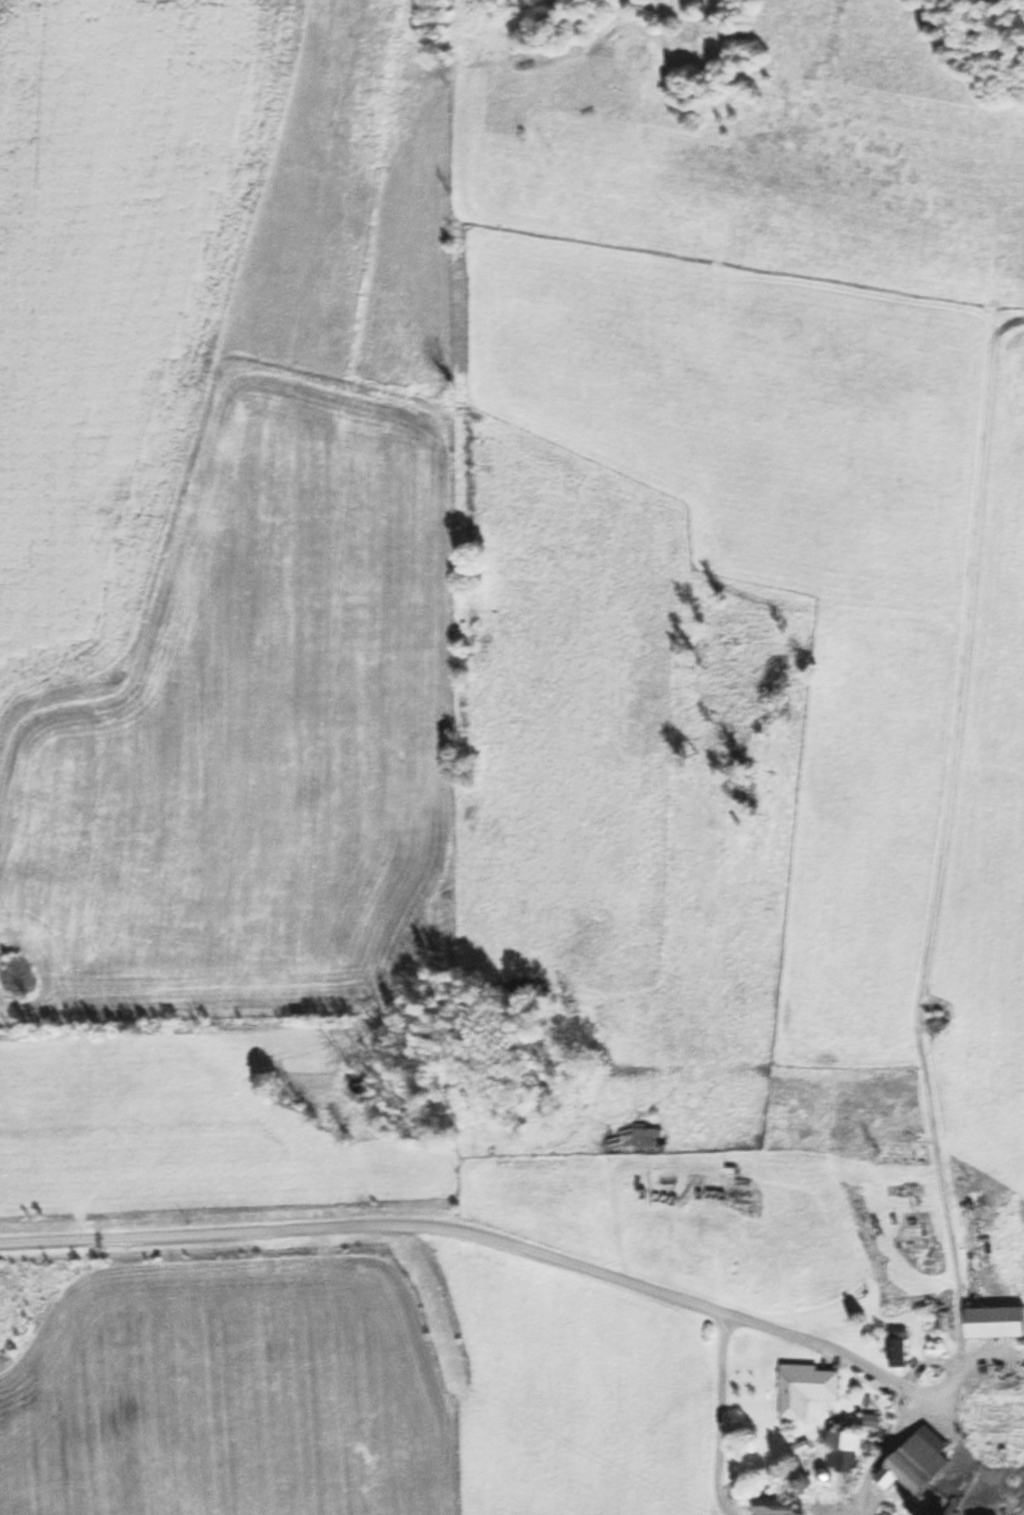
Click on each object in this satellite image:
road: (369, 1229)
building: (995, 1321)
building: (897, 1348)
building: (804, 1389)
road: (718, 1420)
building: (871, 1420)
building: (999, 1428)
building: (844, 1450)
building: (918, 1461)
building: (802, 1479)
building: (956, 1500)
building: (776, 1504)
road: (842, 1514)

